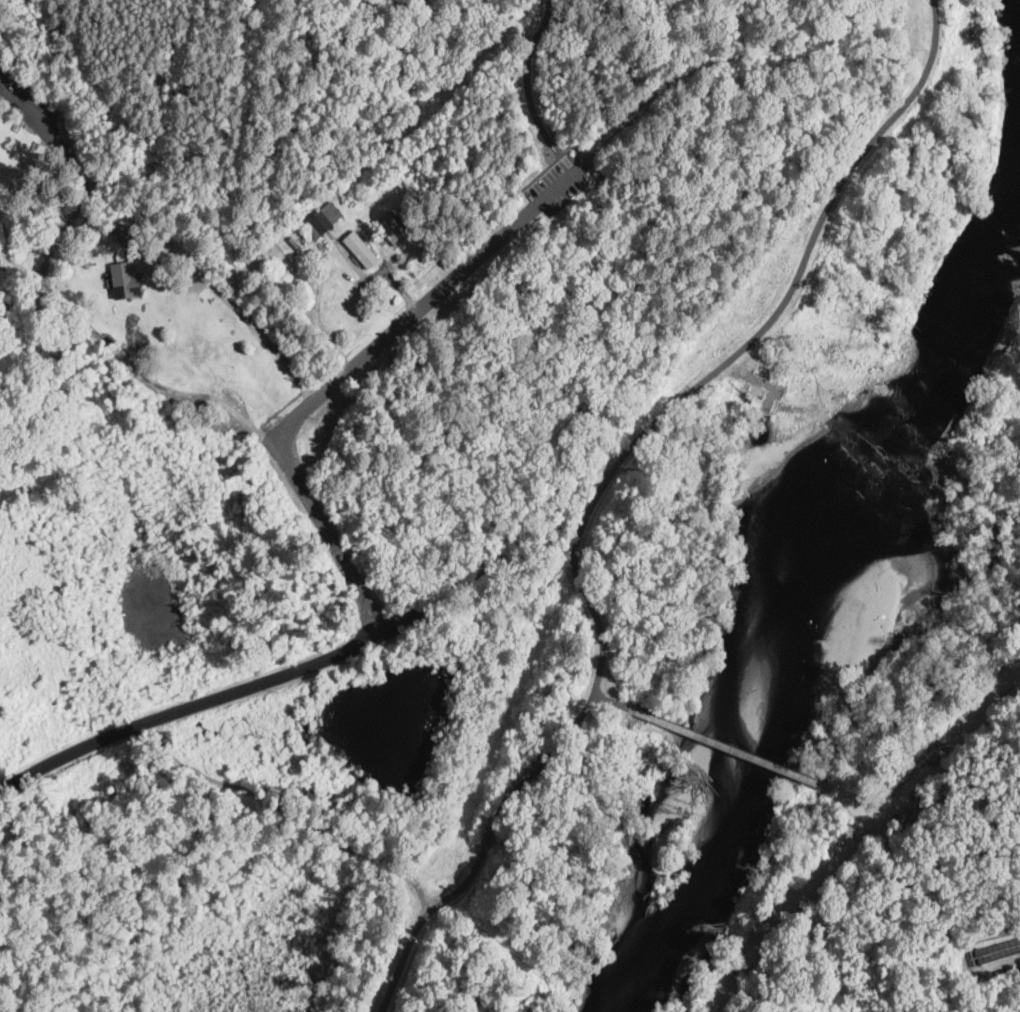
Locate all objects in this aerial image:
road: (746, 52)
building: (0, 76)
road: (529, 89)
building: (0, 94)
building: (15, 126)
building: (443, 177)
parking lot: (561, 181)
parking lot: (554, 187)
road: (554, 187)
building: (322, 219)
park: (457, 226)
building: (391, 227)
building: (122, 229)
building: (360, 249)
road: (375, 273)
building: (125, 280)
road: (69, 304)
river: (947, 310)
road: (256, 325)
building: (756, 391)
road: (318, 395)
road: (675, 405)
road: (505, 550)
river: (760, 682)
road: (187, 708)
road: (719, 741)
road: (925, 775)
park: (919, 801)
parking lot: (901, 808)
road: (290, 816)
road: (862, 817)
road: (489, 835)
park: (244, 908)
road: (936, 916)
road: (420, 920)
river: (629, 964)
building: (1008, 968)

